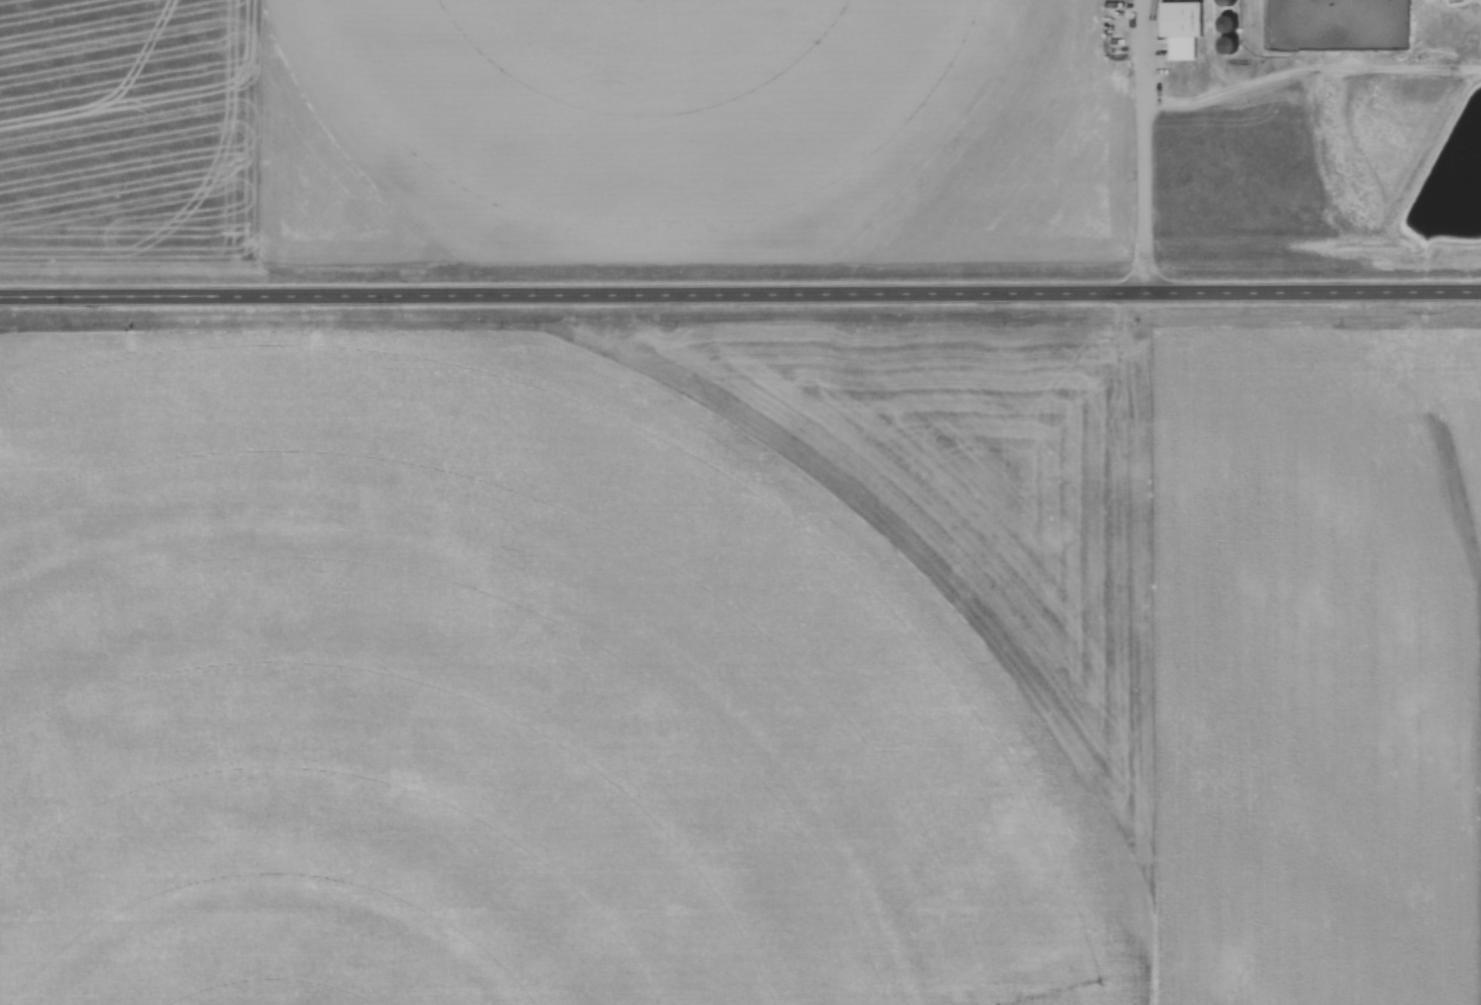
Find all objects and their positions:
building: (1229, 3)
silo: (1229, 3)
building: (1230, 25)
silo: (1230, 25)
building: (1184, 29)
building: (1231, 45)
silo: (1231, 45)
road: (1146, 146)
road: (740, 293)
building: (1099, 298)

